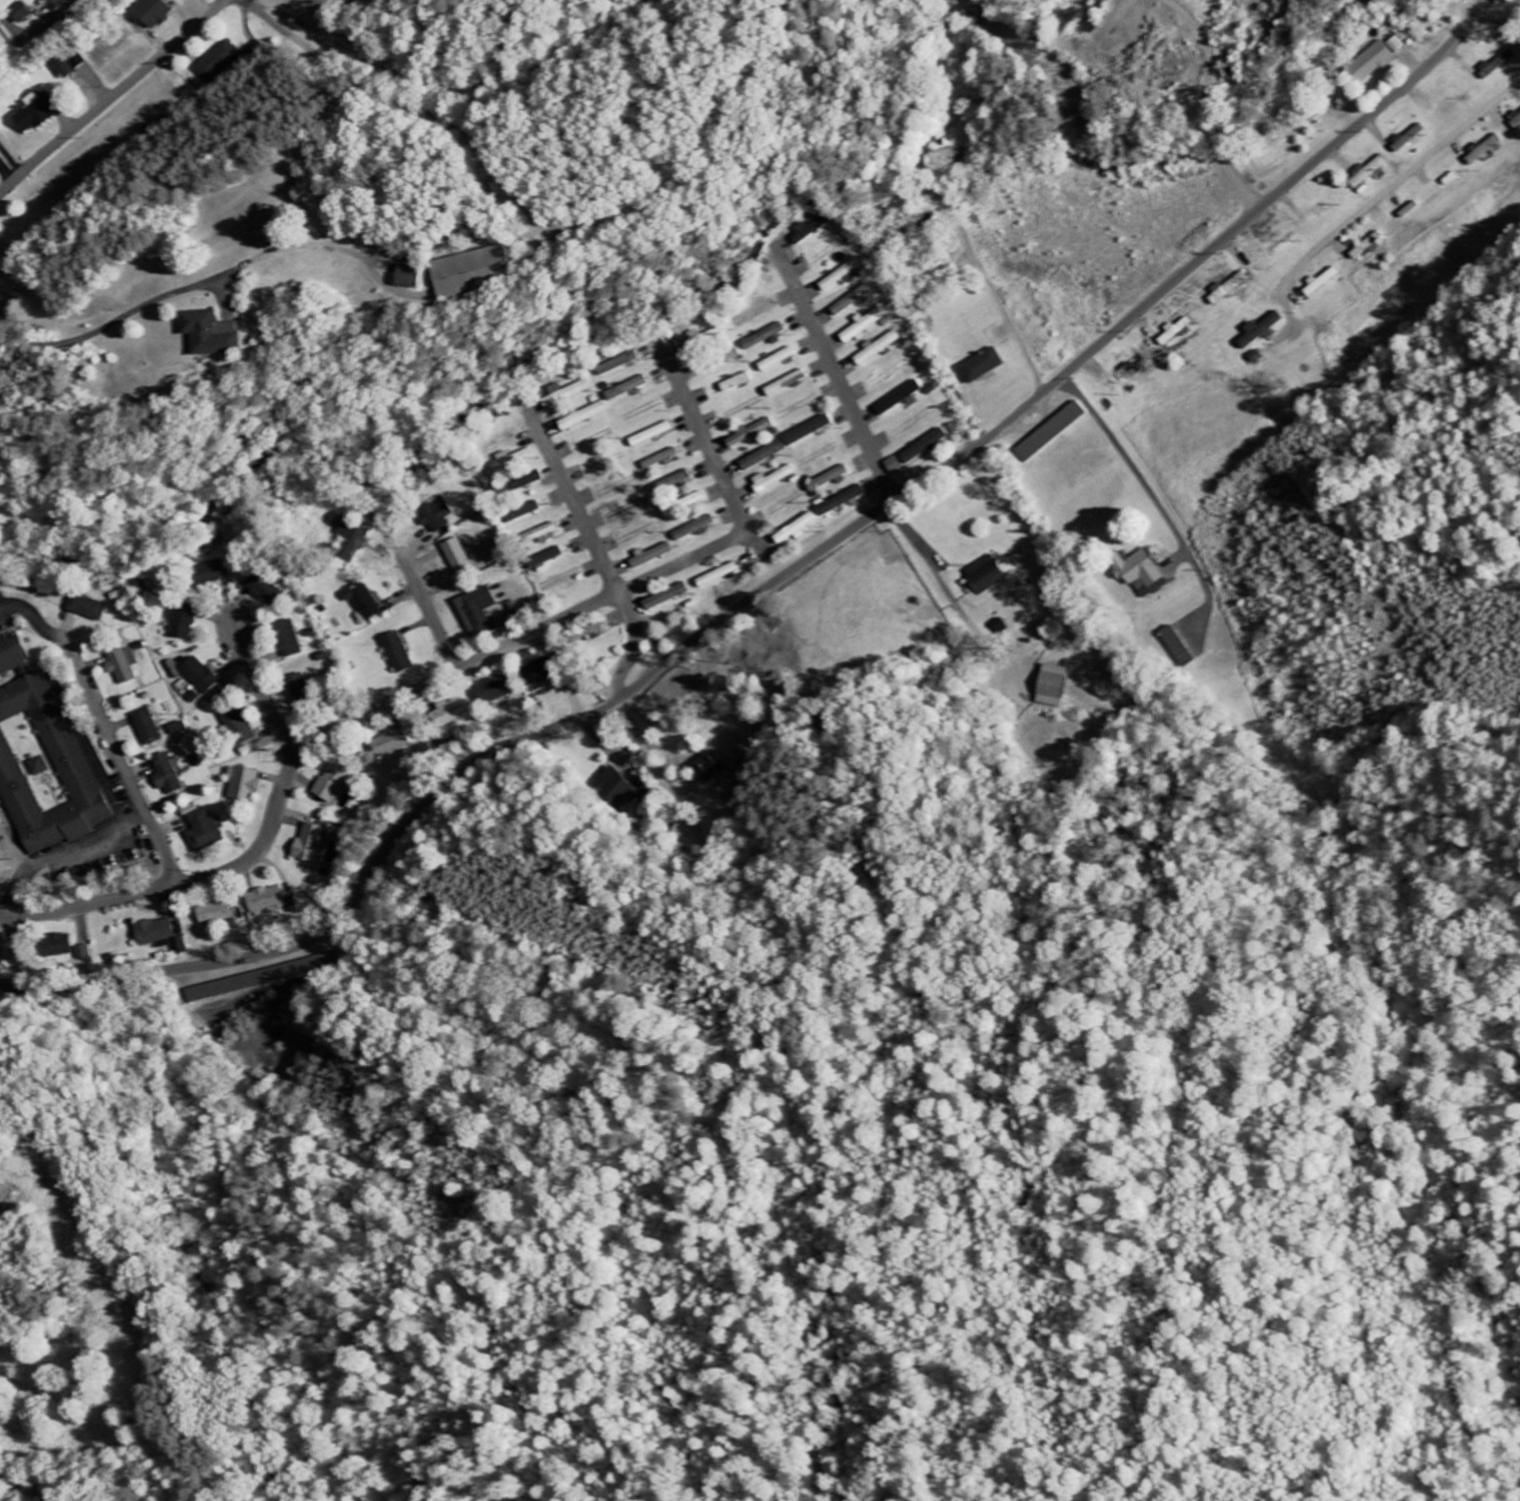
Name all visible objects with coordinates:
building: (47, 1)
building: (152, 13)
building: (21, 14)
road: (1499, 21)
road: (37, 29)
building: (1375, 60)
building: (77, 61)
building: (217, 63)
building: (63, 68)
road: (112, 97)
building: (34, 114)
building: (1514, 120)
road: (1195, 130)
building: (1484, 150)
building: (0, 160)
building: (1364, 176)
road: (1407, 176)
road: (1100, 234)
building: (1364, 246)
building: (466, 273)
building: (838, 276)
building: (407, 278)
building: (1317, 283)
building: (1223, 290)
building: (850, 301)
building: (754, 314)
building: (862, 327)
building: (1172, 333)
building: (210, 335)
building: (764, 337)
building: (876, 349)
building: (732, 355)
building: (776, 361)
building: (618, 364)
building: (980, 366)
building: (734, 383)
building: (784, 385)
road: (842, 386)
building: (625, 389)
road: (1076, 393)
building: (567, 394)
building: (897, 398)
building: (582, 417)
building: (756, 430)
building: (649, 435)
road: (706, 441)
building: (915, 452)
building: (511, 460)
building: (659, 461)
building: (829, 479)
building: (771, 480)
building: (690, 502)
building: (522, 514)
building: (436, 516)
building: (692, 529)
building: (793, 531)
building: (355, 534)
road: (598, 553)
building: (458, 556)
building: (647, 557)
building: (544, 559)
building: (222, 571)
building: (1139, 574)
building: (983, 576)
building: (558, 582)
road: (778, 582)
building: (269, 590)
building: (363, 603)
building: (91, 608)
building: (478, 612)
road: (431, 616)
building: (187, 622)
building: (293, 637)
building: (397, 654)
building: (130, 666)
building: (540, 671)
building: (206, 676)
building: (1050, 686)
road: (263, 689)
building: (495, 691)
building: (310, 698)
building: (451, 713)
building: (240, 720)
road: (352, 721)
building: (154, 727)
building: (185, 728)
building: (402, 741)
building: (47, 756)
road: (124, 761)
building: (709, 768)
building: (173, 776)
building: (337, 784)
building: (251, 785)
building: (209, 829)
building: (315, 843)
road: (62, 852)
building: (276, 902)
building: (222, 914)
building: (161, 932)
building: (63, 946)
building: (182, 947)
building: (12, 953)
building: (86, 953)

